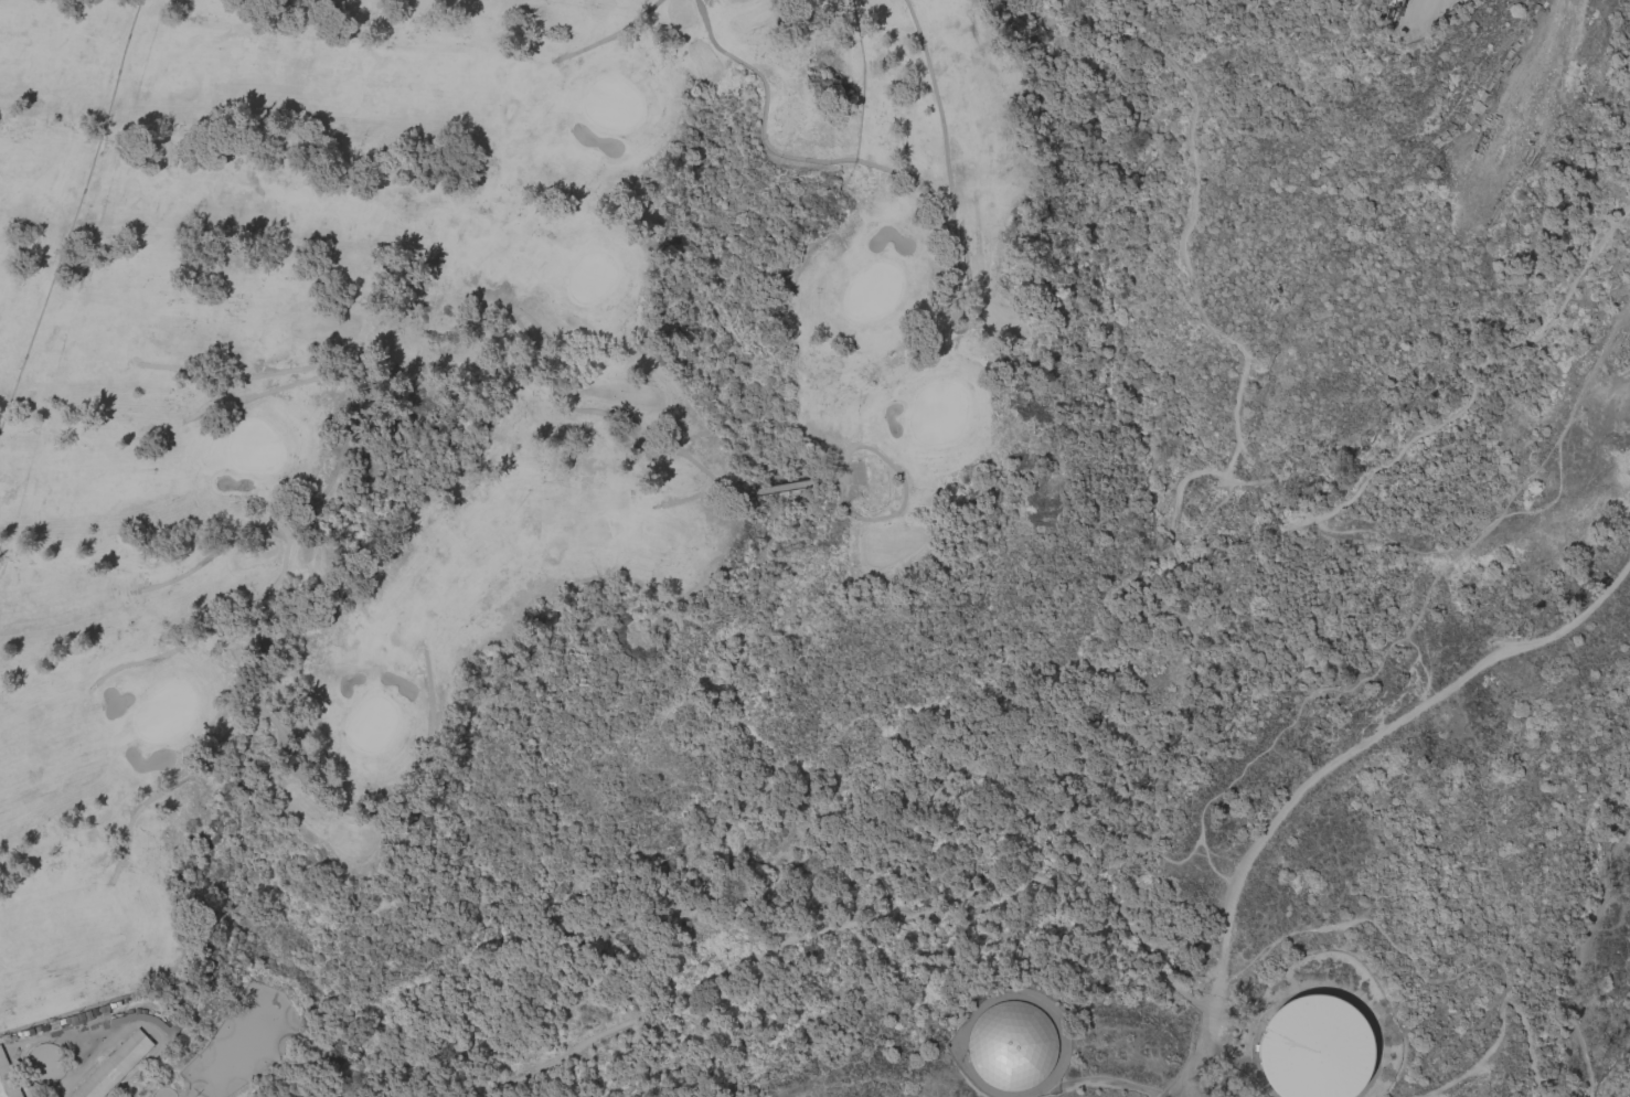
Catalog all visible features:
road: (615, 32)
road: (761, 135)
road: (947, 170)
road: (1184, 244)
road: (236, 375)
road: (252, 395)
park: (446, 395)
road: (650, 445)
road: (827, 481)
road: (780, 488)
road: (701, 494)
road: (278, 577)
park: (1112, 657)
road: (428, 690)
road: (1074, 724)
road: (1378, 739)
road: (168, 787)
road: (846, 923)
road: (1583, 966)
road: (1211, 1002)
road: (1501, 1016)
building: (148, 1021)
building: (1012, 1046)
building: (1315, 1048)
road: (1190, 1054)
building: (115, 1066)
building: (7, 1079)
road: (1627, 1089)
road: (1622, 1096)

